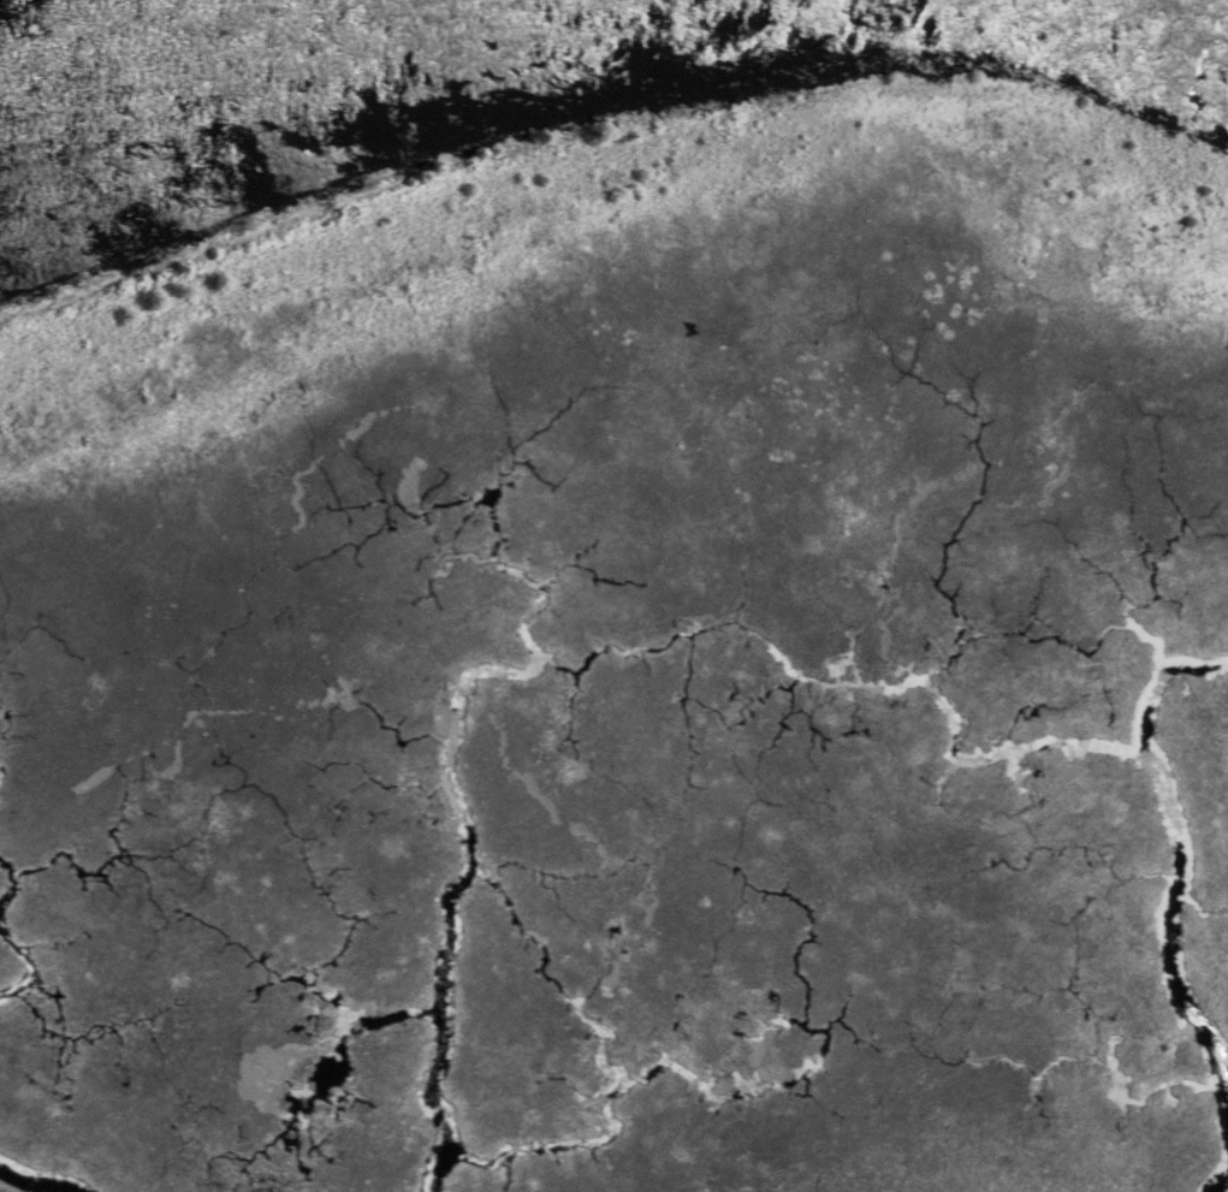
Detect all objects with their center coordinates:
river: (81, 13)

